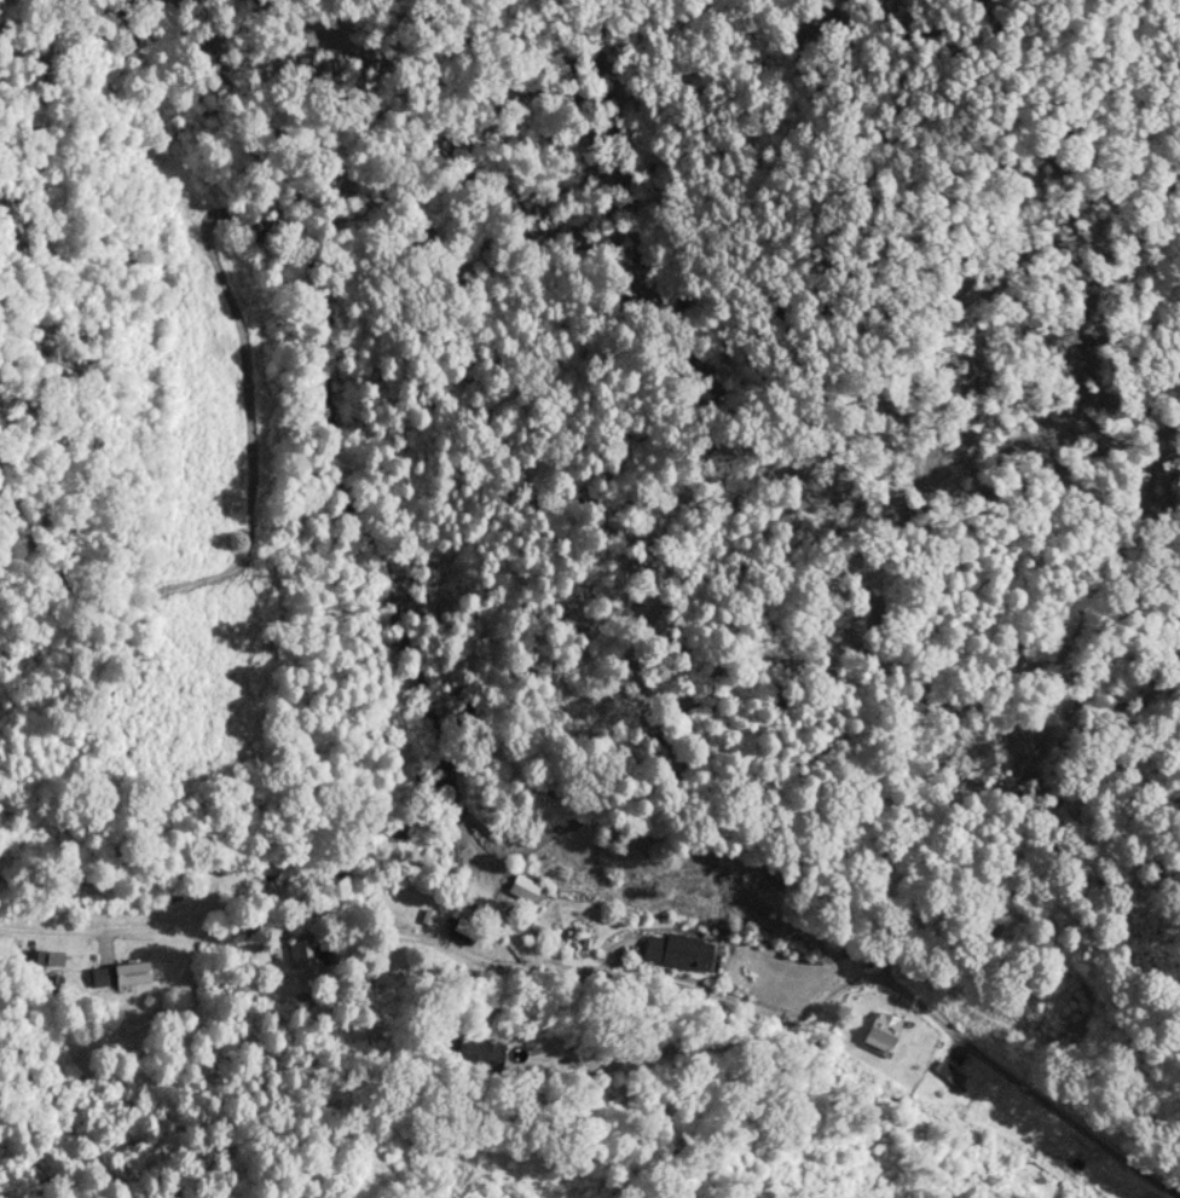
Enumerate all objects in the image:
building: (394, 826)
road: (131, 931)
building: (898, 933)
building: (308, 953)
building: (690, 954)
road: (615, 970)
building: (131, 974)
building: (883, 1030)
building: (480, 1054)
building: (947, 1073)

